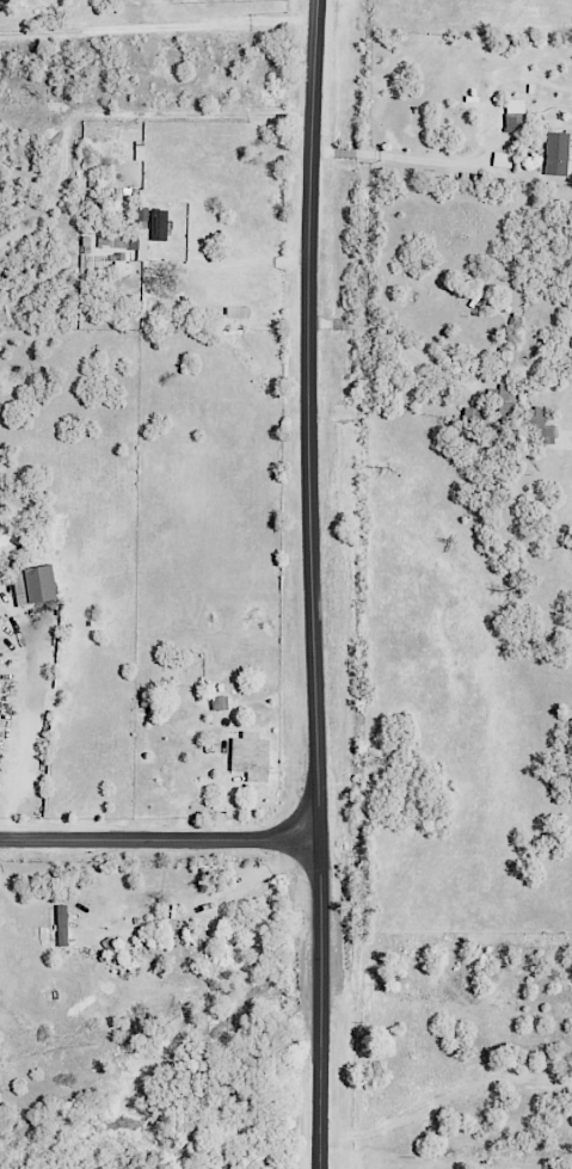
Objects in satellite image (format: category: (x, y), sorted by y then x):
road: (158, 27)
road: (321, 152)
road: (343, 153)
building: (556, 154)
road: (425, 159)
building: (502, 160)
road: (442, 191)
building: (158, 224)
building: (128, 242)
building: (236, 313)
road: (395, 340)
building: (539, 425)
building: (38, 584)
road: (312, 584)
road: (92, 605)
building: (219, 703)
building: (250, 757)
road: (6, 798)
road: (159, 839)
building: (61, 924)
road: (566, 1081)
road: (566, 1084)
road: (441, 1102)

